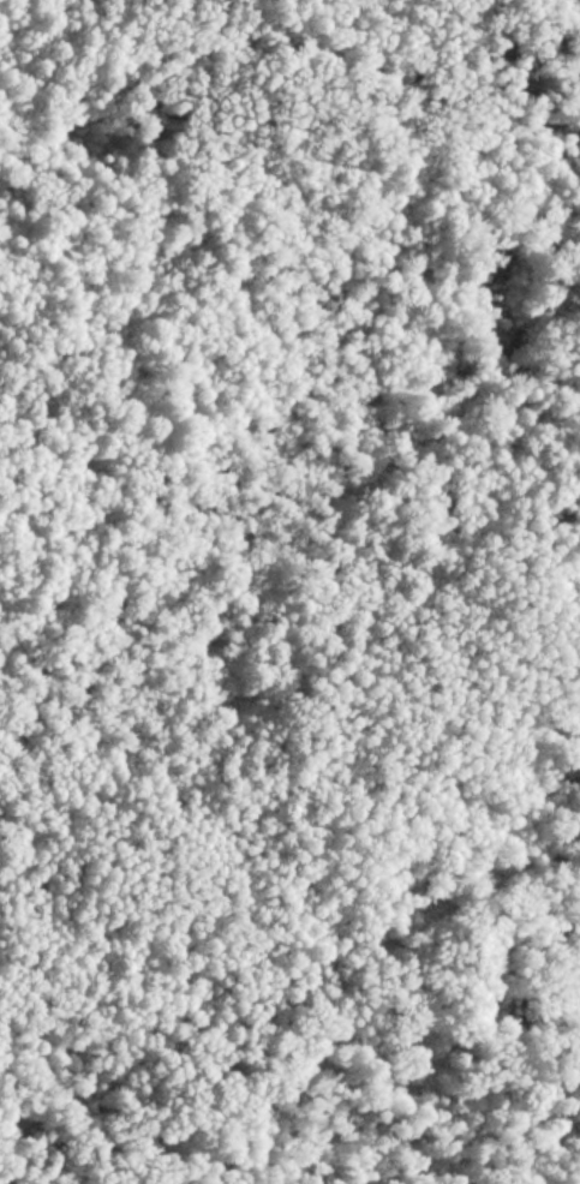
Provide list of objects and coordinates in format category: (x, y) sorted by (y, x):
park: (289, 592)

